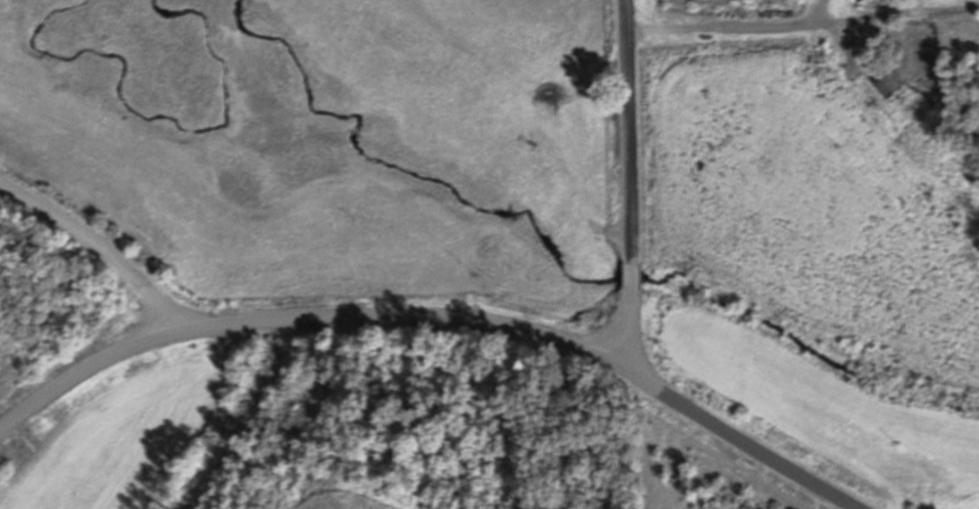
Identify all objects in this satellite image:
building: (886, 78)
road: (630, 181)
road: (428, 312)
road: (84, 373)
building: (429, 448)

